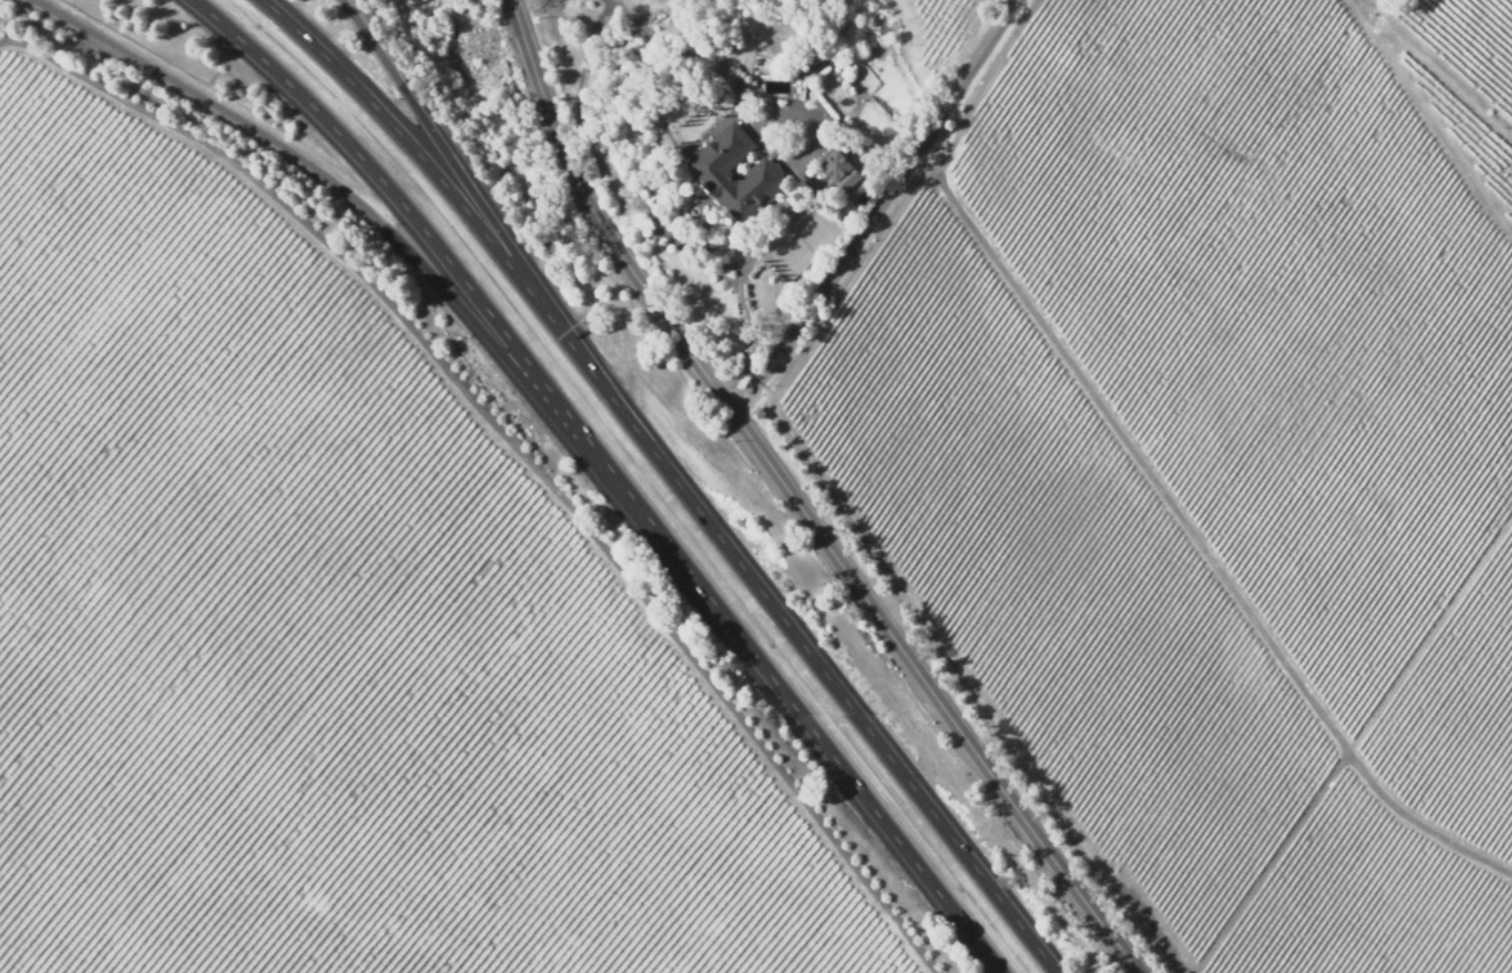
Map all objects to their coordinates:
road: (440, 144)
building: (841, 169)
building: (714, 175)
road: (331, 183)
road: (873, 207)
road: (616, 471)
road: (674, 475)
road: (227, 494)
road: (799, 504)

